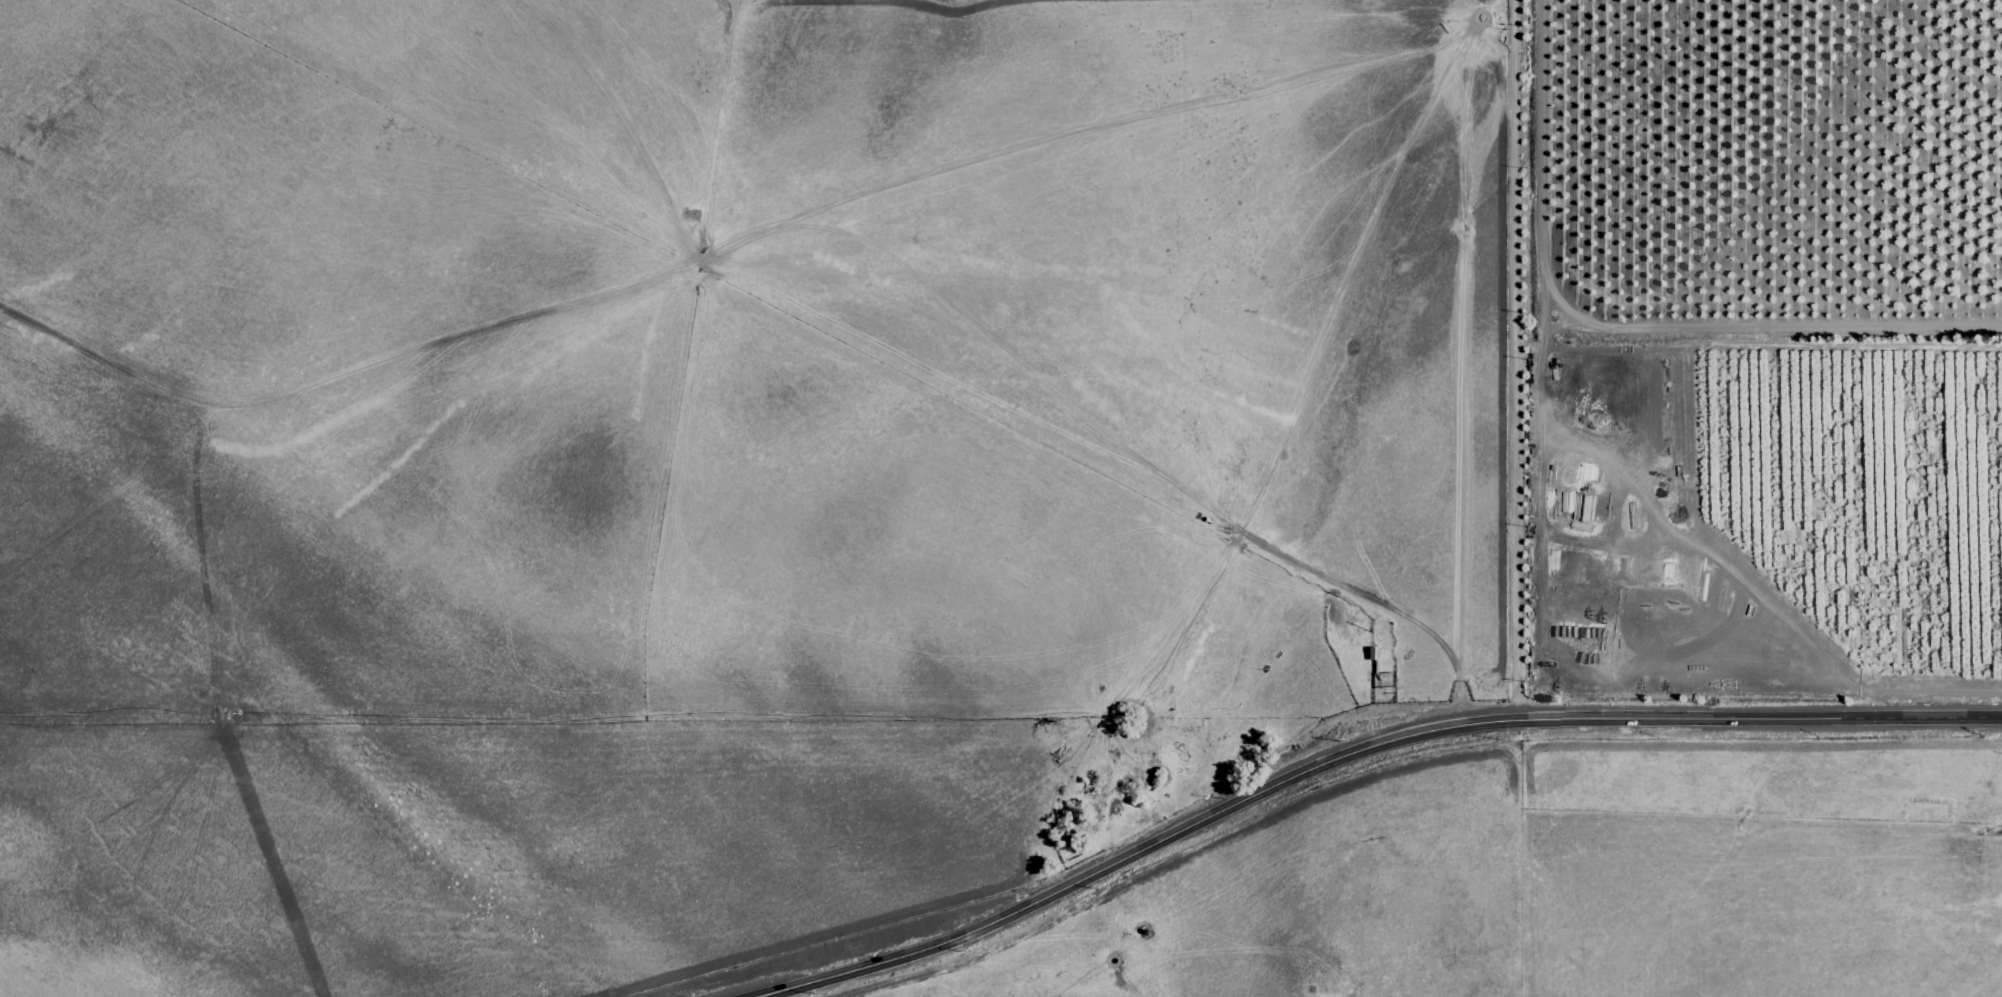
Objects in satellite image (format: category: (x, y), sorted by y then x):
road: (1513, 359)
crop: (870, 531)
road: (1351, 749)

